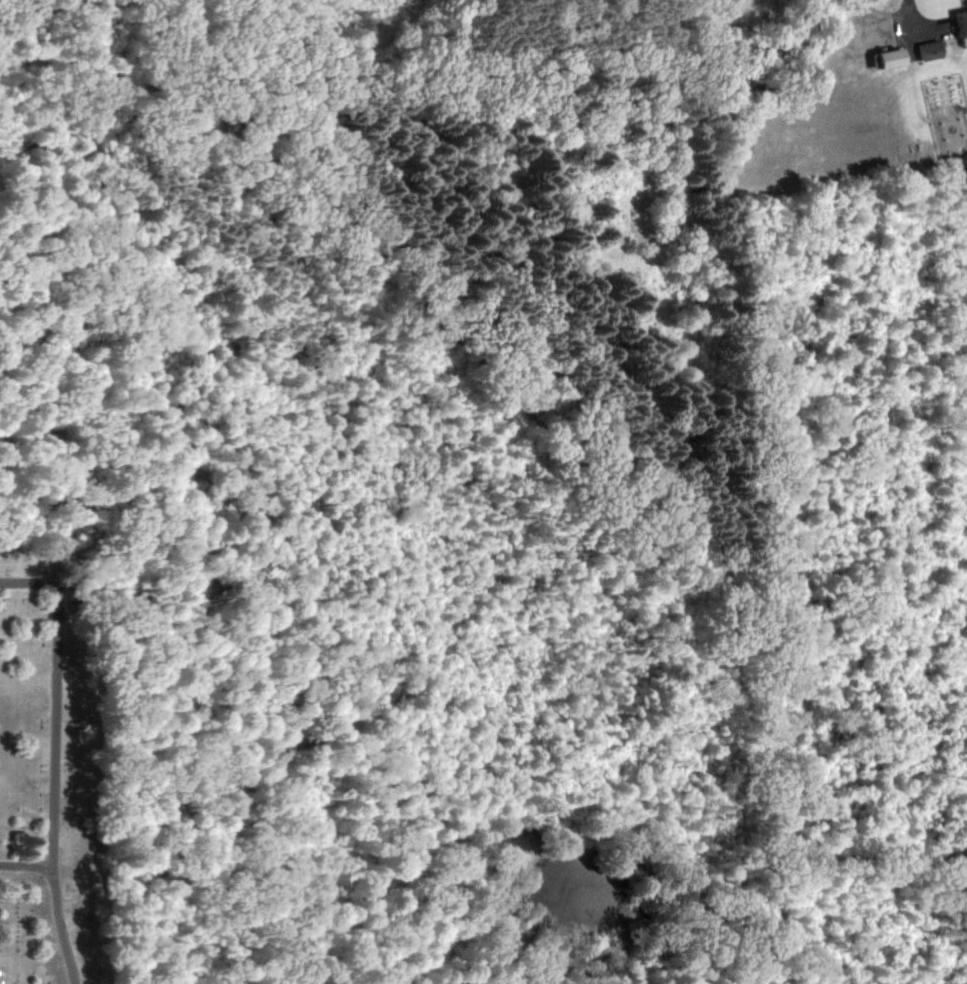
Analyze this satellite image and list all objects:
road: (904, 11)
building: (962, 24)
building: (931, 51)
building: (890, 60)
park: (963, 116)
park: (478, 503)
road: (52, 760)
park: (35, 770)
road: (25, 864)
park: (956, 978)

